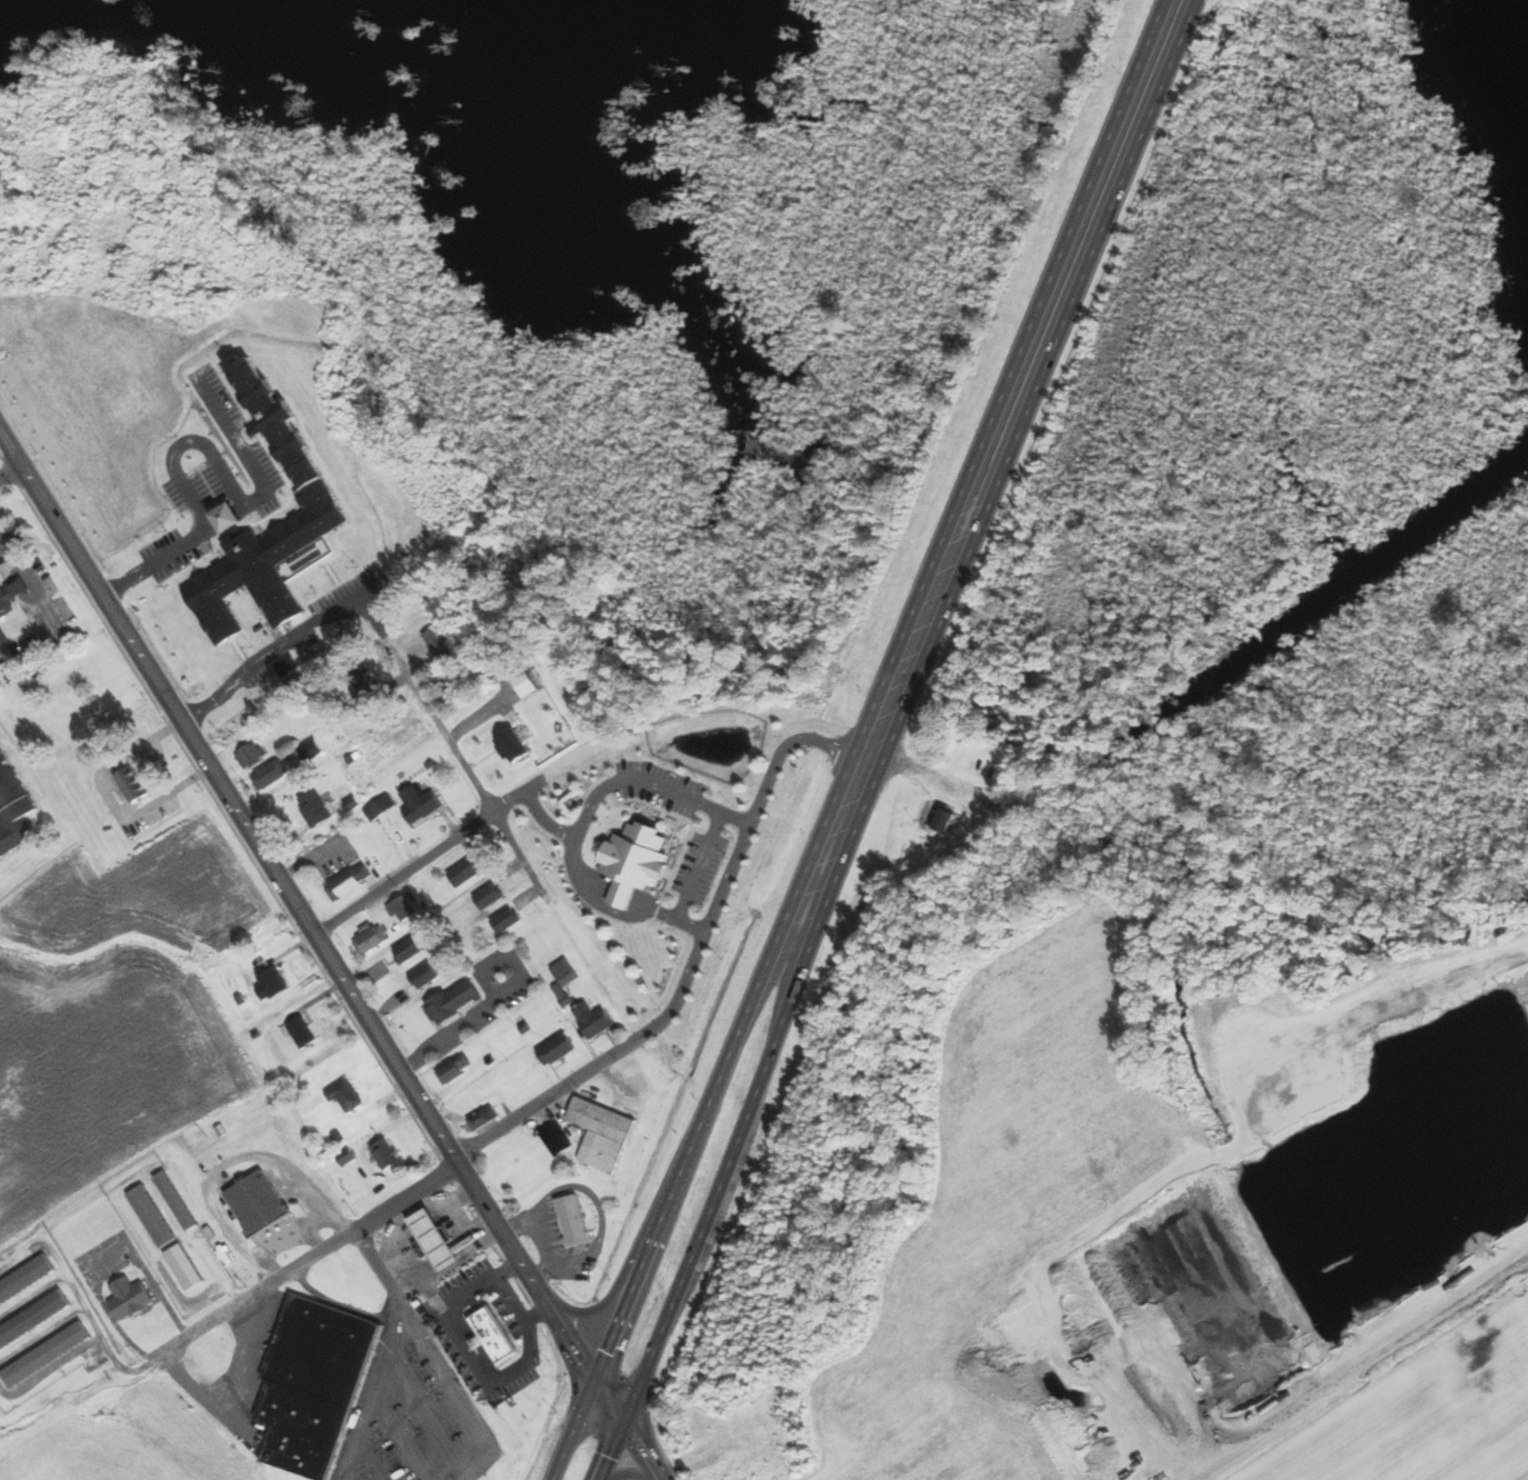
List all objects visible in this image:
road: (1025, 350)
road: (1053, 357)
road: (195, 441)
road: (9, 468)
road: (42, 602)
building: (10, 608)
road: (289, 637)
building: (442, 646)
building: (527, 684)
building: (373, 695)
building: (313, 751)
building: (253, 756)
building: (273, 776)
road: (475, 777)
building: (136, 786)
building: (422, 805)
building: (382, 808)
building: (317, 809)
building: (14, 811)
building: (946, 820)
road: (461, 838)
road: (701, 867)
building: (469, 871)
building: (352, 883)
road: (725, 892)
building: (492, 897)
building: (406, 910)
building: (509, 921)
road: (314, 927)
building: (373, 942)
building: (410, 951)
building: (567, 973)
building: (427, 977)
building: (274, 985)
building: (564, 996)
building: (456, 1003)
building: (596, 1021)
building: (305, 1034)
building: (559, 1050)
building: (457, 1070)
road: (719, 1090)
building: (348, 1096)
road: (756, 1098)
building: (486, 1118)
road: (529, 1120)
building: (604, 1135)
building: (559, 1140)
building: (389, 1156)
building: (178, 1201)
building: (260, 1203)
building: (155, 1216)
building: (575, 1219)
building: (435, 1241)
road: (319, 1255)
building: (27, 1280)
building: (132, 1298)
road: (510, 1300)
road: (605, 1305)
building: (34, 1319)
building: (496, 1336)
road: (386, 1351)
building: (49, 1355)
traffic signals: (599, 1383)
building: (317, 1385)
road: (452, 1389)
traffic signals: (626, 1426)
road: (644, 1453)
road: (630, 1473)

